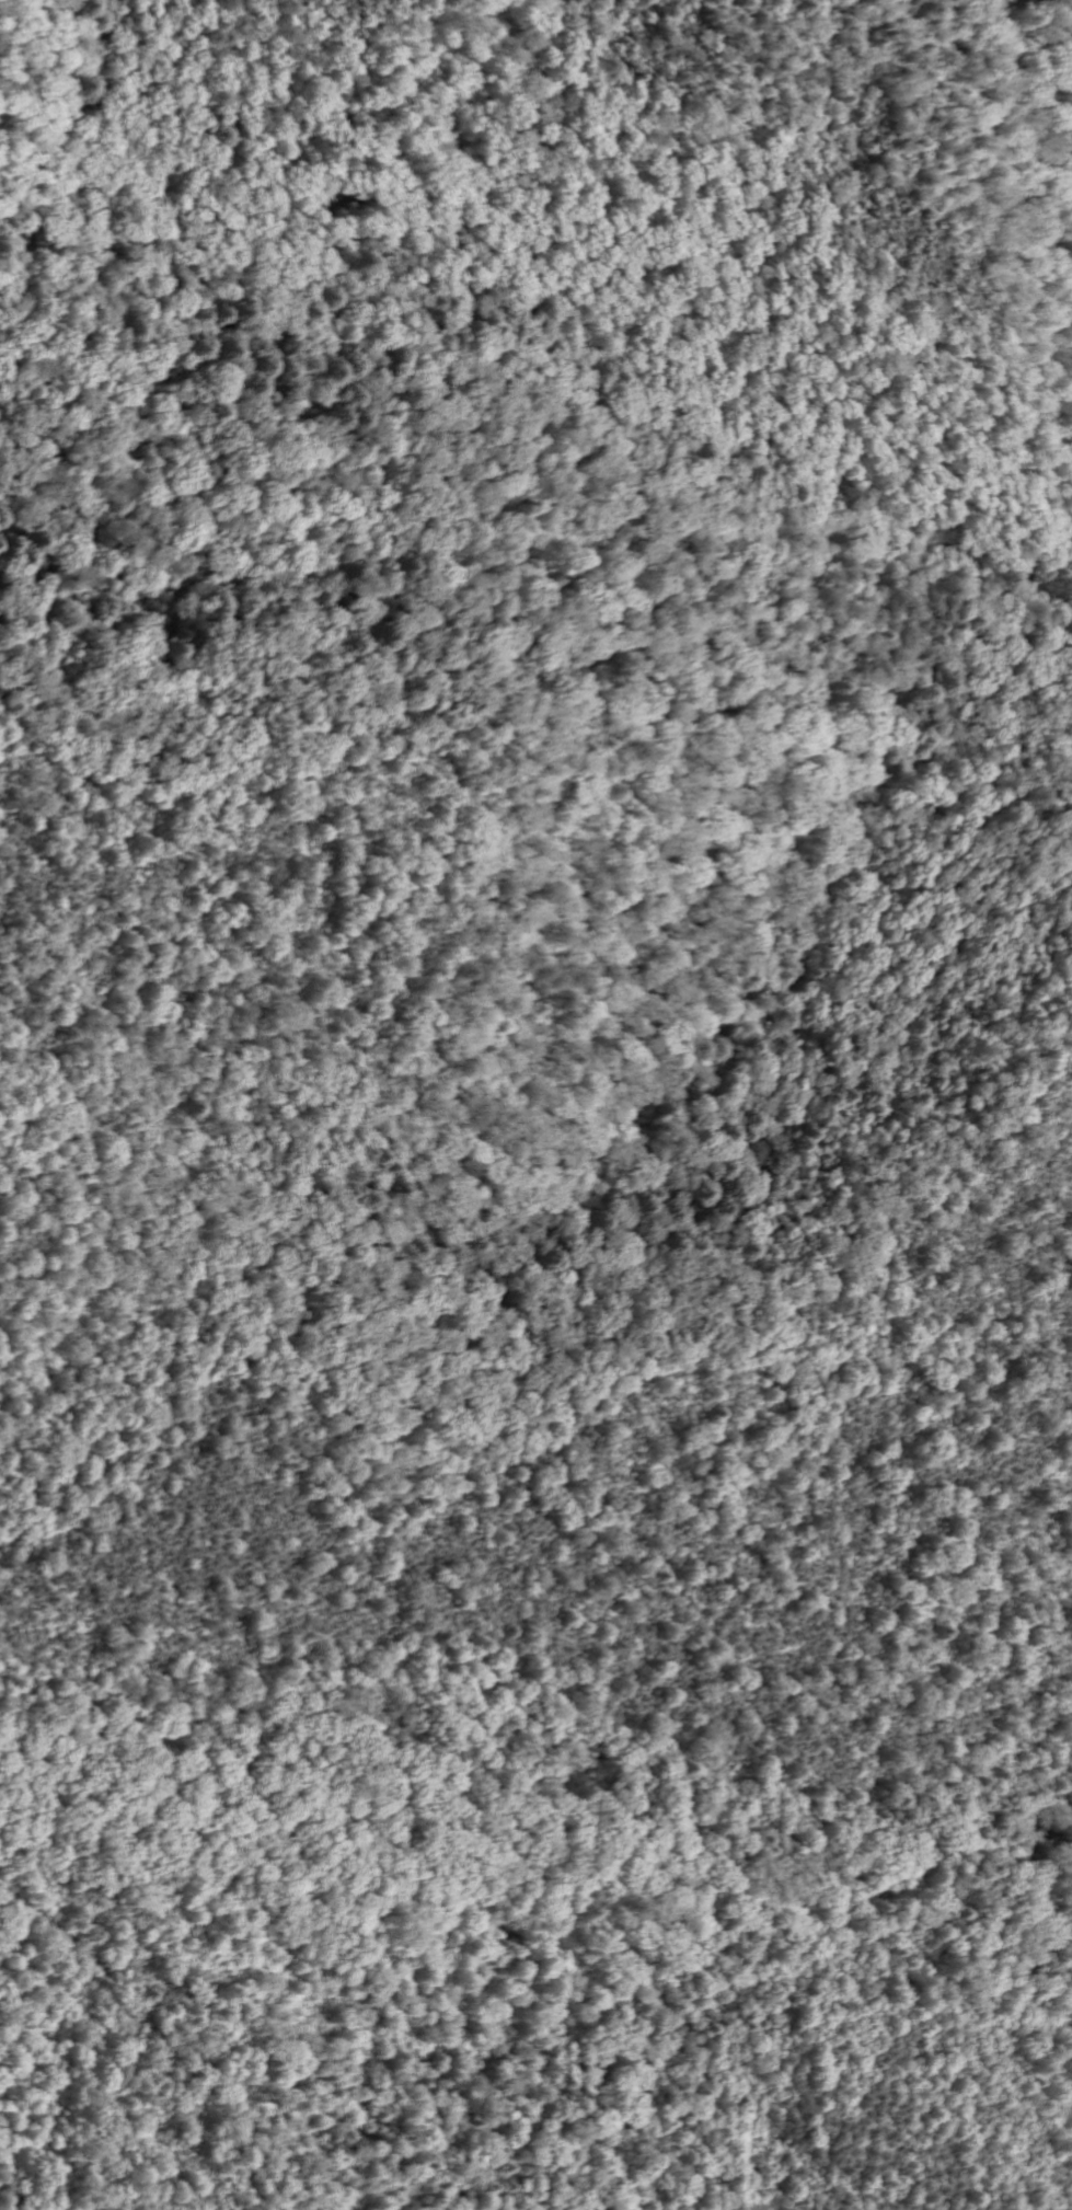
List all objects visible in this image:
road: (159, 2031)

